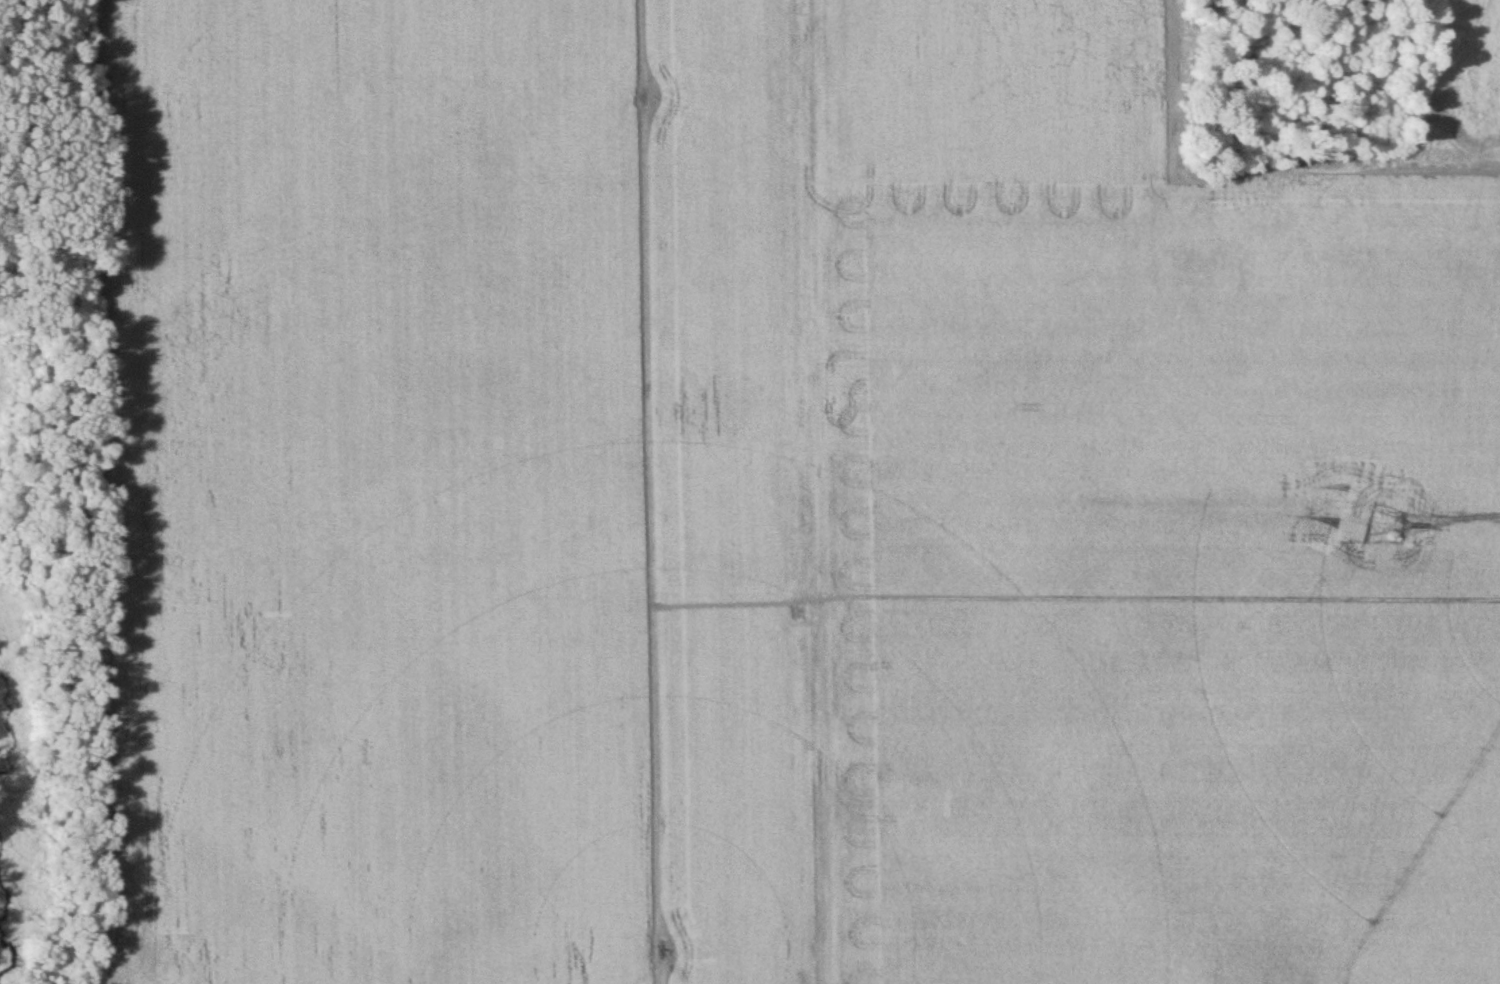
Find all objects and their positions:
power tower: (1387, 522)

